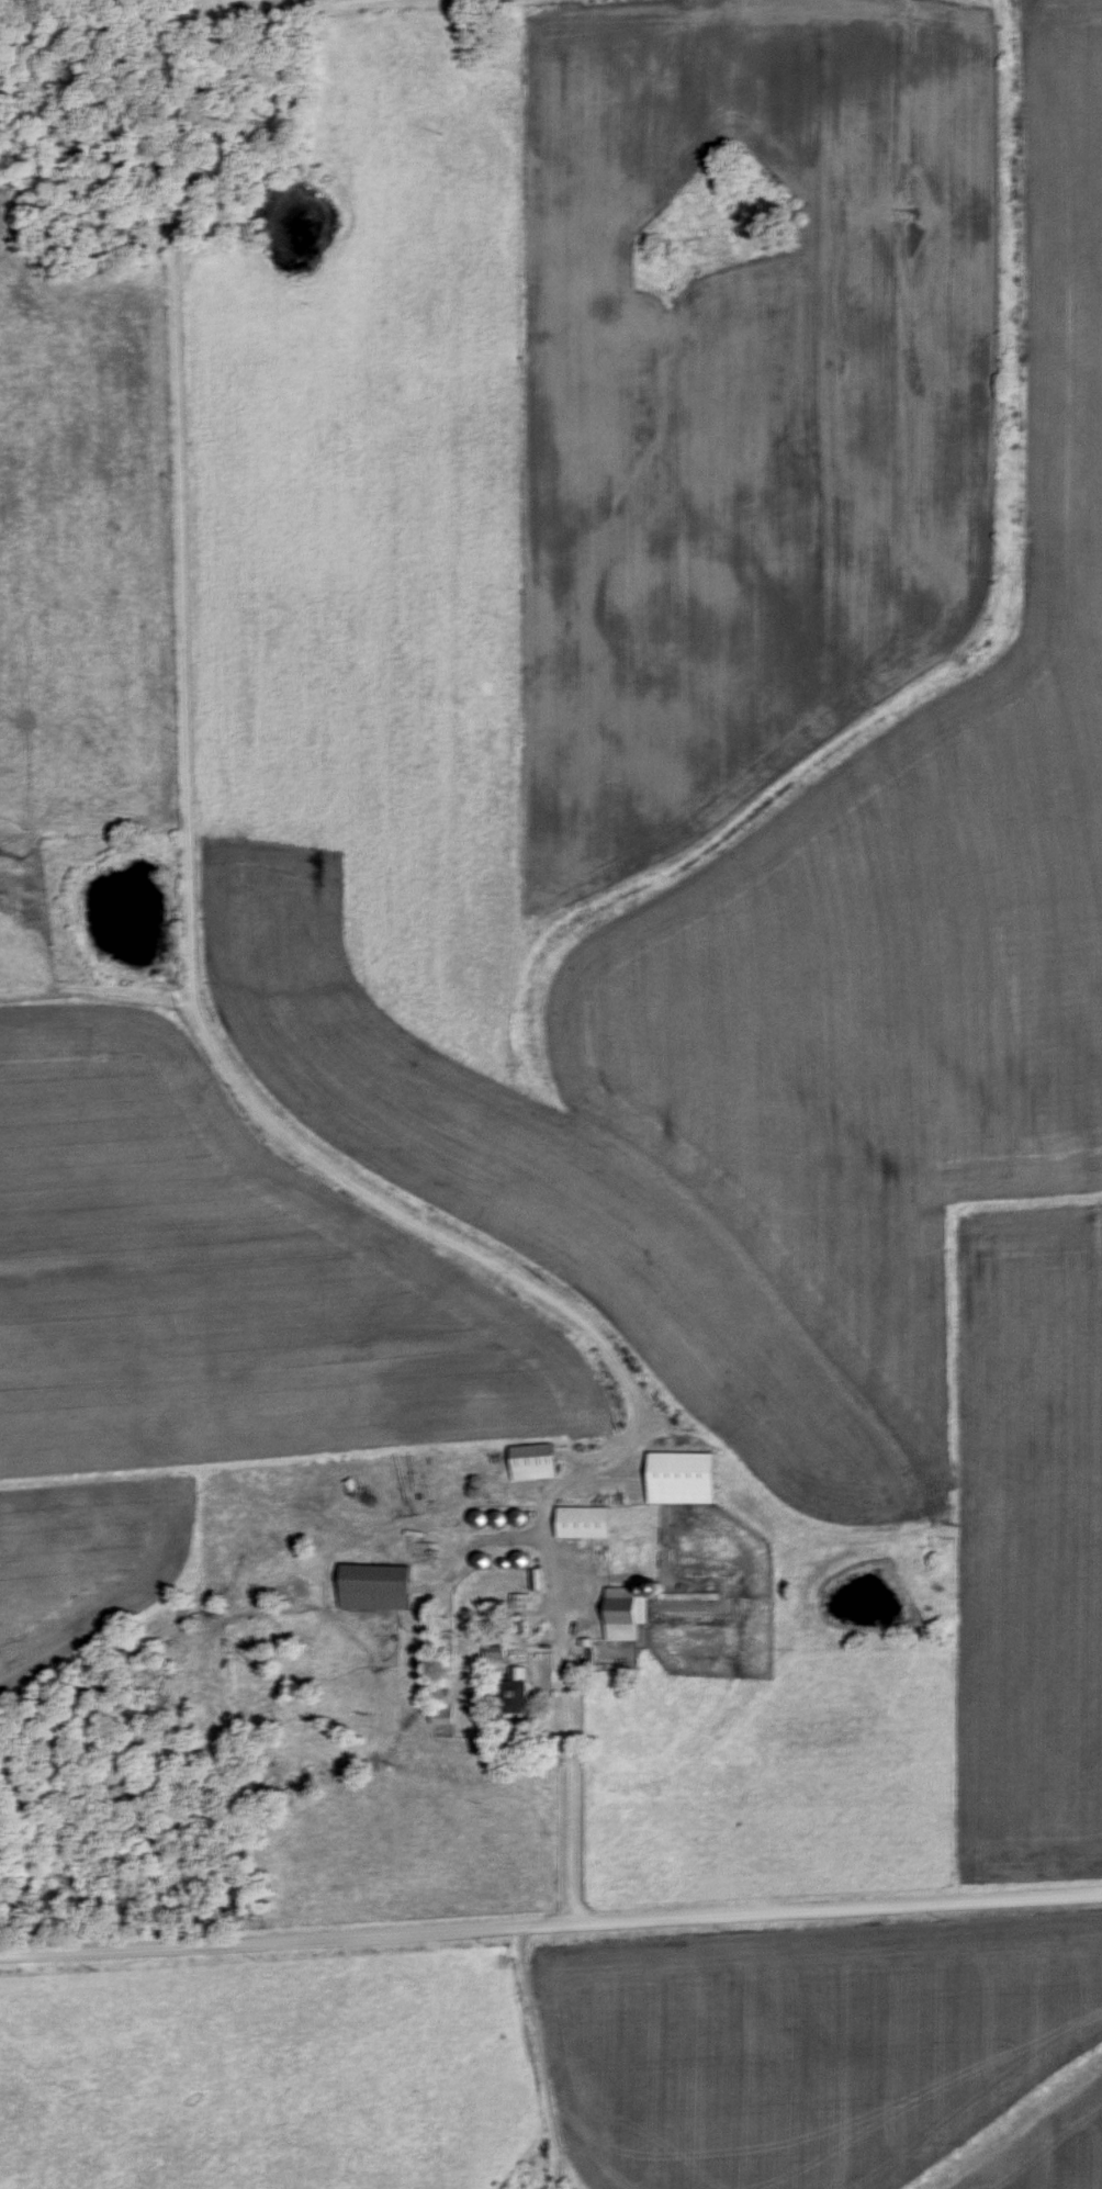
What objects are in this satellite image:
road: (196, 978)
building: (540, 1463)
building: (688, 1480)
building: (588, 1524)
building: (428, 1546)
building: (380, 1589)
building: (627, 1615)
building: (521, 1688)
road: (987, 1707)
road: (550, 1922)
road: (541, 2056)

